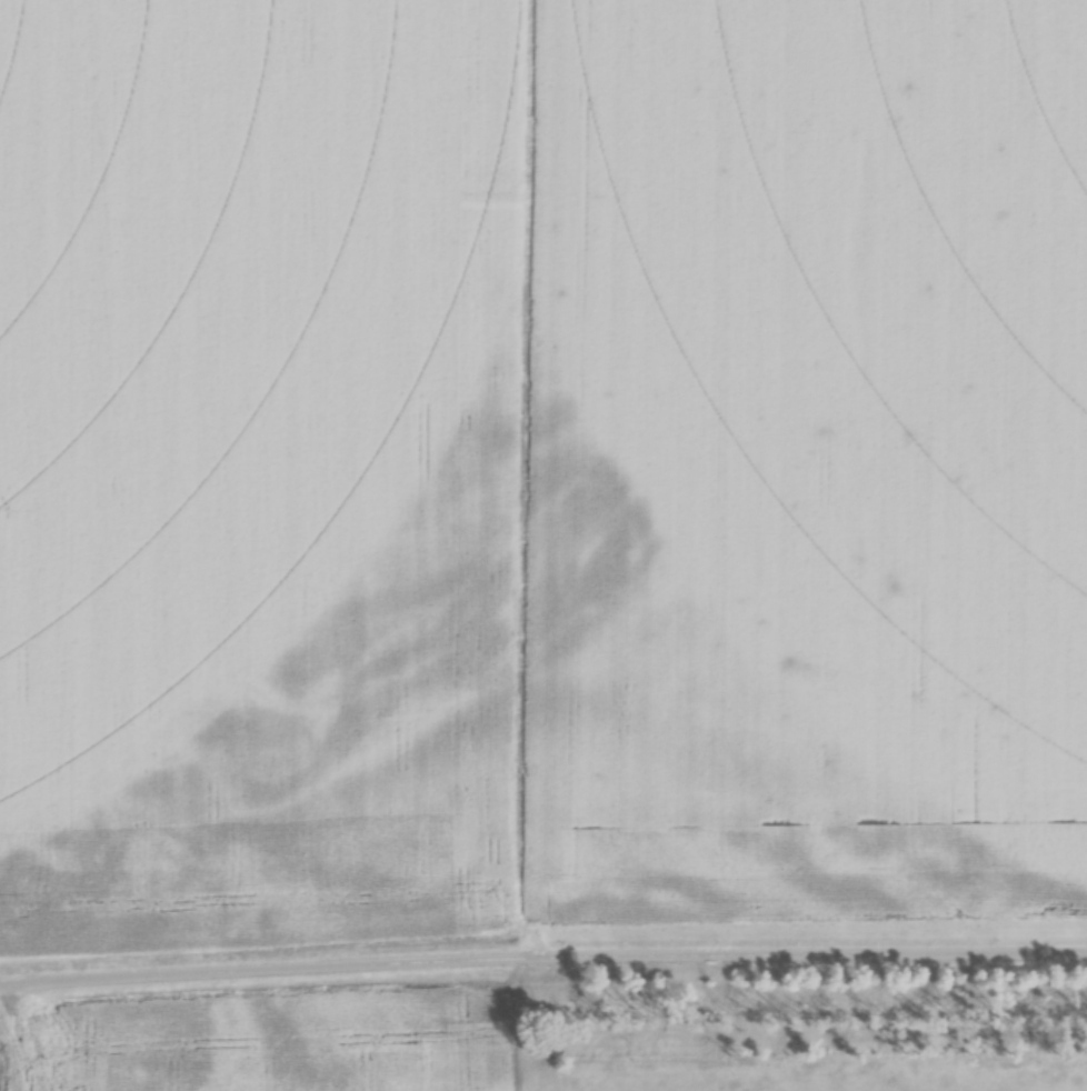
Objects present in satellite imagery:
road: (542, 955)

